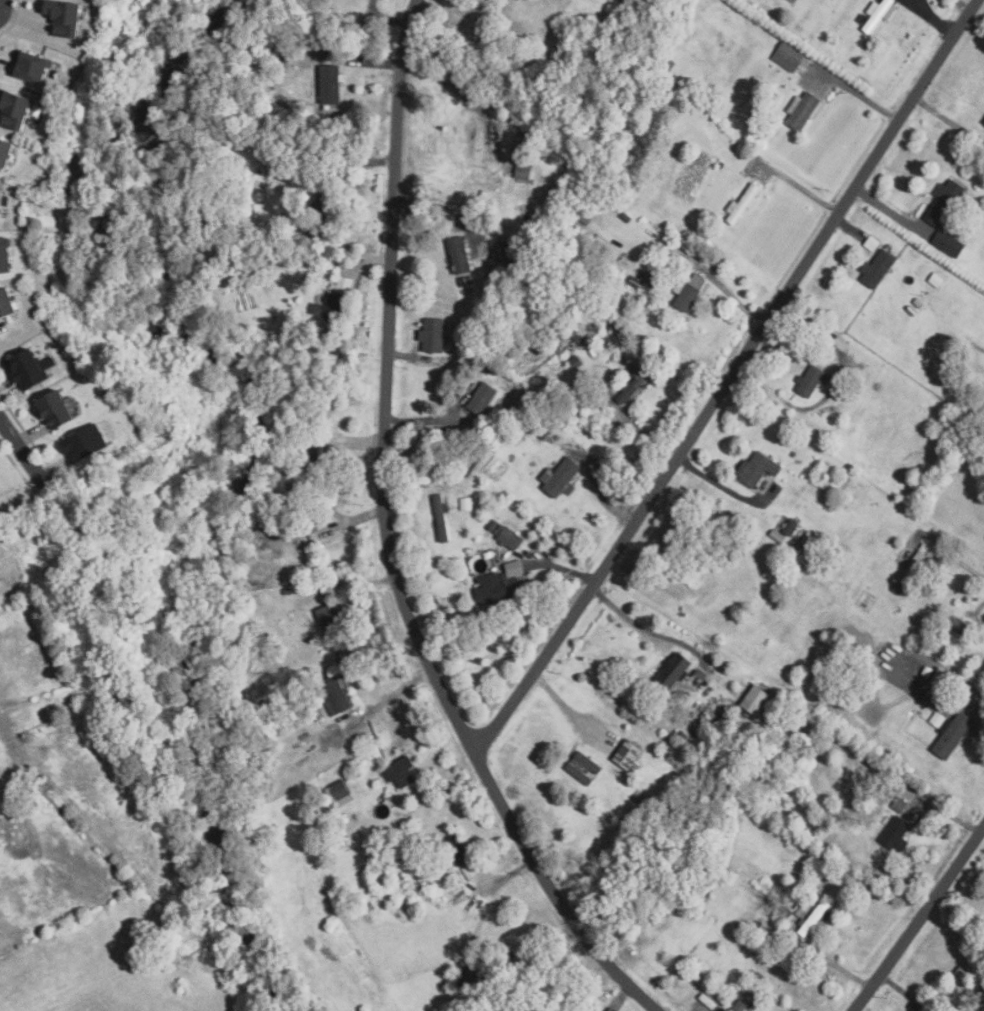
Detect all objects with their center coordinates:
building: (877, 14)
building: (63, 17)
building: (788, 56)
building: (31, 67)
building: (329, 83)
building: (13, 109)
building: (802, 111)
building: (983, 123)
building: (491, 134)
building: (4, 149)
building: (520, 171)
building: (0, 196)
building: (945, 201)
building: (743, 203)
building: (871, 243)
building: (947, 243)
building: (502, 250)
building: (3, 255)
building: (459, 255)
building: (876, 269)
building: (649, 277)
building: (344, 285)
building: (688, 293)
building: (5, 300)
building: (326, 308)
building: (432, 335)
building: (26, 371)
road: (729, 378)
building: (812, 381)
building: (632, 385)
building: (481, 398)
building: (58, 408)
building: (93, 438)
road: (21, 456)
building: (754, 470)
building: (562, 478)
building: (440, 518)
building: (510, 540)
road: (388, 543)
road: (962, 563)
building: (504, 589)
road: (632, 623)
building: (332, 624)
building: (955, 624)
building: (672, 670)
road: (935, 685)
building: (335, 694)
building: (754, 700)
building: (937, 719)
building: (951, 735)
building: (628, 755)
building: (582, 769)
building: (400, 772)
building: (338, 794)
building: (897, 805)
building: (894, 836)
road: (918, 917)
building: (814, 919)
building: (950, 988)
building: (751, 993)
building: (707, 1002)

